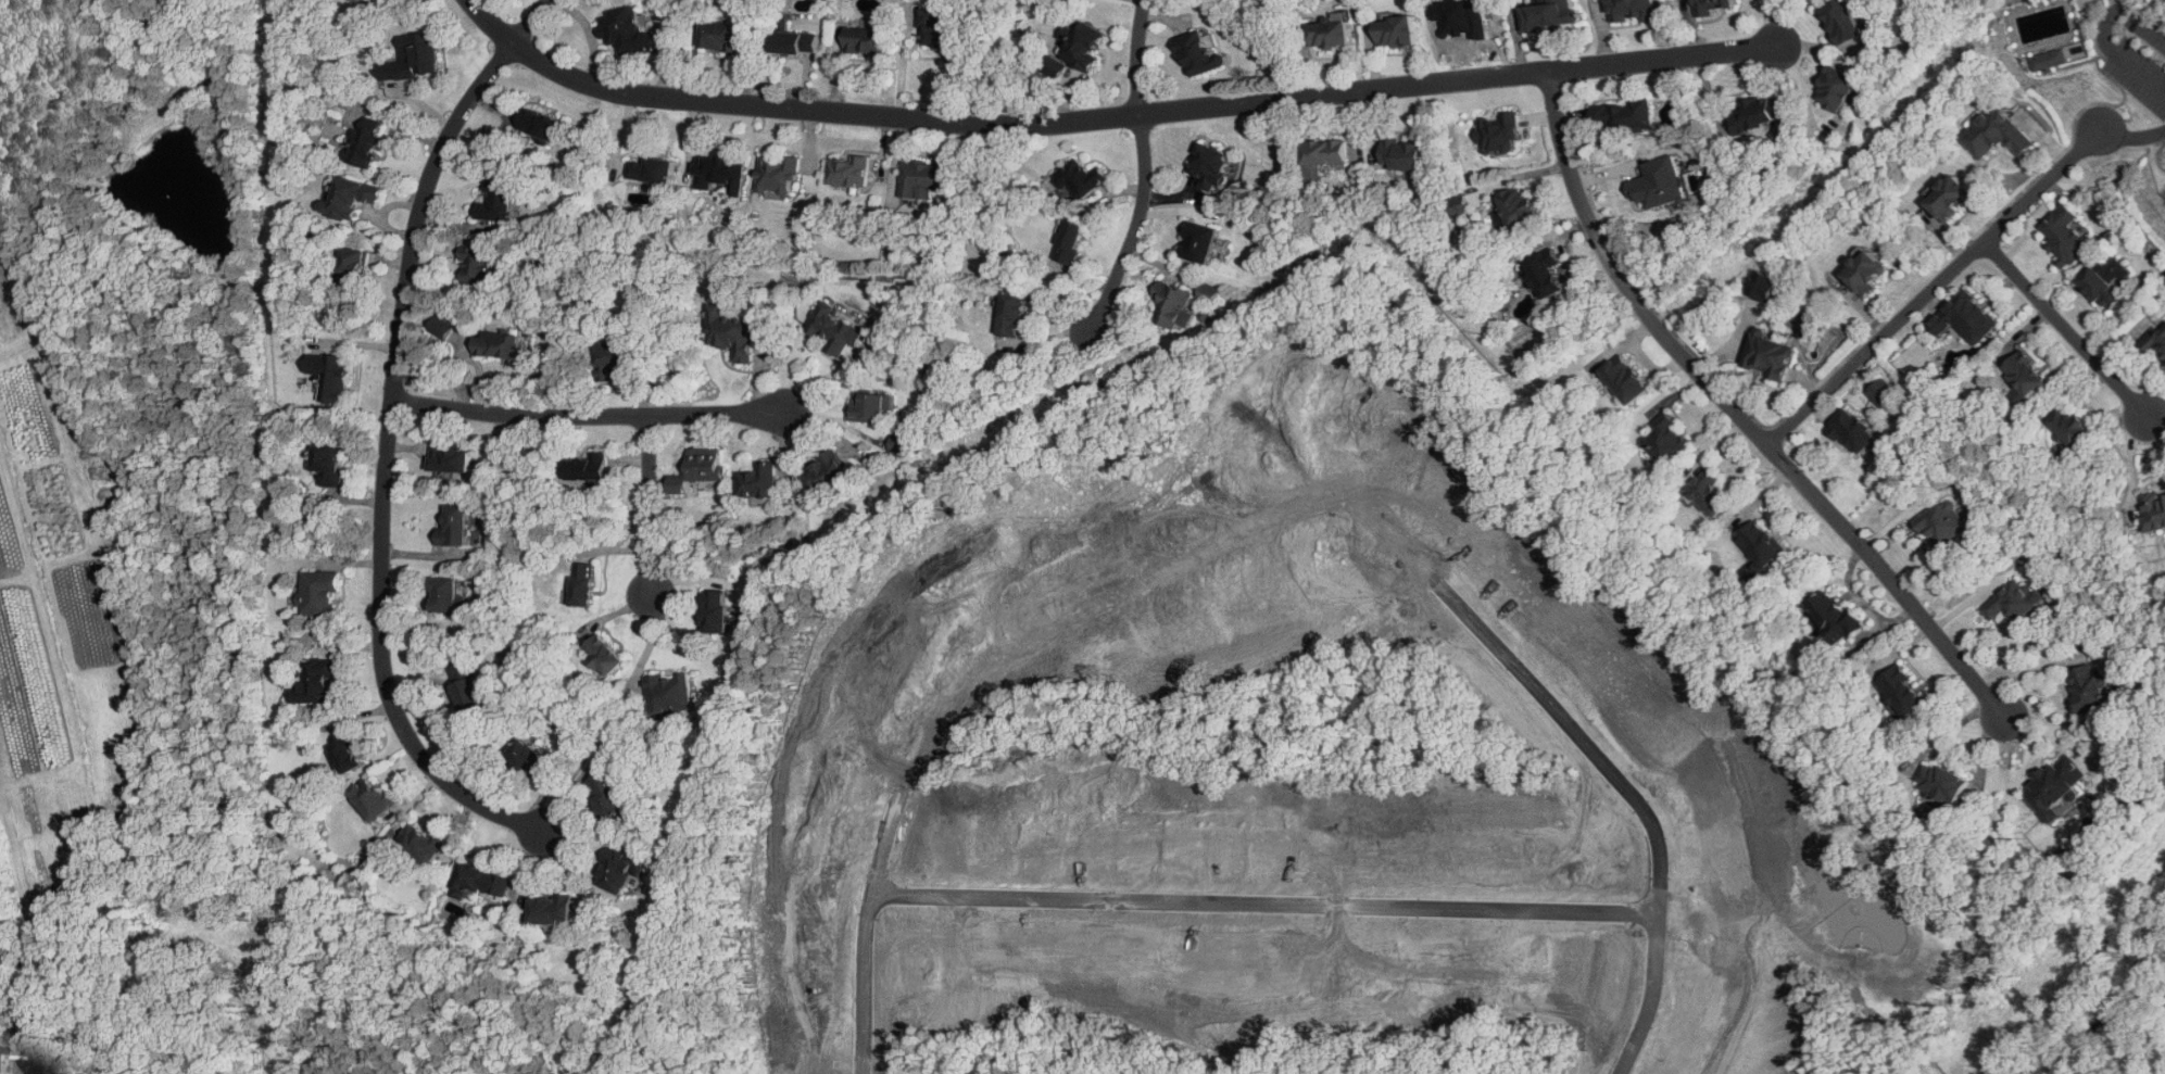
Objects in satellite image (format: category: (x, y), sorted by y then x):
building: (356, 0)
building: (1710, 5)
building: (1632, 10)
building: (1550, 15)
building: (1841, 21)
building: (939, 30)
building: (627, 33)
building: (1395, 33)
building: (1329, 34)
building: (719, 37)
road: (2107, 38)
building: (865, 40)
road: (2062, 40)
building: (1080, 41)
building: (794, 42)
building: (427, 54)
building: (1199, 54)
building: (2048, 60)
building: (1835, 89)
road: (1574, 114)
building: (1755, 114)
building: (1623, 116)
road: (1111, 117)
building: (538, 124)
building: (1498, 134)
building: (1996, 134)
road: (2044, 136)
road: (2131, 137)
building: (366, 144)
building: (1323, 152)
building: (1402, 155)
building: (1207, 166)
road: (1144, 167)
building: (651, 170)
building: (847, 170)
building: (721, 173)
building: (778, 175)
road: (1608, 175)
building: (922, 179)
building: (1080, 179)
building: (1658, 181)
park: (2163, 194)
building: (1951, 197)
building: (496, 198)
building: (355, 199)
building: (1516, 207)
building: (2064, 235)
road: (1944, 237)
building: (1069, 242)
building: (1197, 242)
building: (476, 266)
building: (355, 267)
building: (1544, 273)
building: (1866, 273)
building: (2106, 281)
building: (1763, 285)
road: (1933, 287)
building: (1208, 292)
building: (1173, 306)
road: (1863, 311)
building: (1010, 314)
building: (1965, 318)
building: (441, 326)
road: (2067, 328)
building: (834, 329)
building: (732, 333)
road: (1733, 339)
building: (2157, 340)
building: (495, 345)
building: (1770, 354)
building: (608, 359)
road: (1838, 364)
building: (333, 375)
building: (2026, 376)
building: (1626, 378)
road: (1803, 382)
building: (1883, 392)
building: (869, 407)
road: (588, 415)
road: (1740, 415)
building: (2072, 429)
building: (1853, 430)
road: (387, 437)
building: (1665, 438)
building: (902, 444)
building: (449, 459)
building: (326, 463)
building: (586, 468)
building: (698, 472)
building: (825, 473)
building: (757, 481)
building: (1710, 492)
road: (650, 506)
building: (2154, 513)
road: (1295, 516)
building: (1946, 521)
building: (452, 527)
building: (1762, 545)
building: (581, 585)
building: (320, 592)
building: (448, 597)
building: (2014, 599)
building: (714, 612)
building: (1837, 615)
building: (602, 656)
road: (2027, 670)
building: (315, 681)
building: (2089, 687)
building: (466, 688)
building: (1902, 692)
building: (669, 694)
building: (347, 753)
building: (528, 758)
building: (1942, 782)
building: (2056, 787)
building: (605, 794)
building: (374, 797)
building: (423, 844)
building: (618, 869)
building: (481, 882)
road: (1275, 905)
building: (554, 908)
building: (0, 1048)

